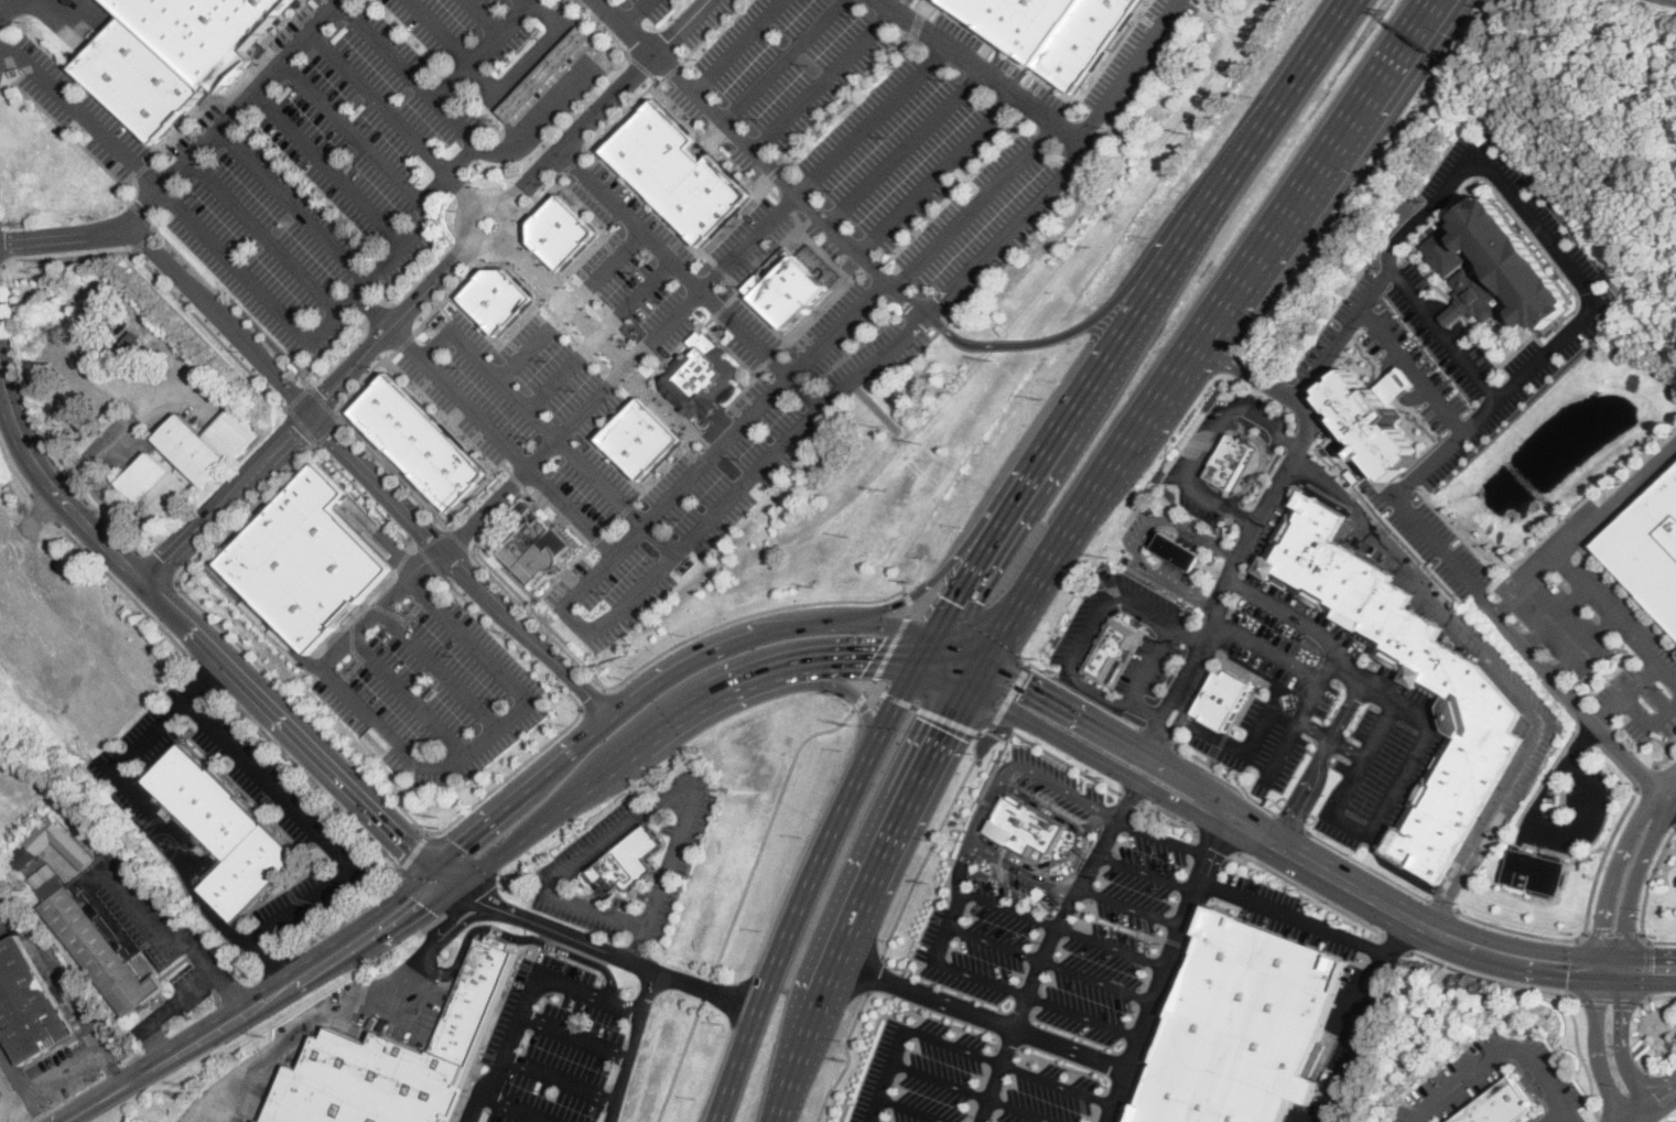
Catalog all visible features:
road: (530, 1)
parking lot: (855, 1)
building: (312, 3)
parking lot: (657, 7)
road: (638, 11)
road: (488, 15)
parking lot: (901, 15)
road: (7, 19)
parking lot: (441, 20)
parking lot: (710, 21)
road: (918, 23)
parking lot: (294, 24)
road: (607, 30)
building: (1049, 30)
road: (440, 31)
road: (714, 31)
building: (204, 33)
building: (338, 33)
road: (1, 42)
road: (743, 45)
road: (484, 48)
building: (442, 54)
parking lot: (1137, 55)
road: (537, 56)
parking lot: (793, 58)
road: (789, 60)
road: (645, 66)
road: (675, 68)
building: (426, 69)
road: (409, 72)
road: (985, 72)
building: (548, 73)
gas station: (548, 73)
road: (828, 77)
building: (136, 78)
road: (664, 80)
road: (583, 82)
building: (280, 93)
road: (502, 96)
road: (851, 99)
road: (380, 101)
road: (609, 103)
parking lot: (76, 110)
building: (356, 110)
road: (625, 114)
road: (79, 115)
road: (874, 118)
parking lot: (190, 126)
road: (60, 129)
road: (354, 132)
road: (908, 147)
road: (765, 155)
road: (191, 158)
road: (1483, 158)
parking lot: (949, 161)
road: (576, 162)
building: (345, 165)
road: (328, 169)
road: (133, 170)
road: (447, 170)
road: (1068, 170)
building: (681, 171)
road: (938, 172)
road: (1313, 173)
building: (414, 176)
parking lot: (322, 186)
road: (462, 187)
road: (115, 188)
road: (547, 194)
road: (586, 205)
road: (976, 206)
road: (290, 207)
parking lot: (793, 209)
parking lot: (1518, 209)
road: (133, 214)
road: (632, 220)
road: (420, 224)
road: (147, 227)
building: (563, 229)
road: (473, 235)
road: (260, 238)
road: (138, 239)
building: (377, 239)
road: (127, 248)
road: (385, 263)
parking lot: (645, 263)
building: (1502, 263)
road: (231, 268)
road: (158, 283)
building: (793, 290)
road: (446, 295)
building: (498, 296)
road: (569, 302)
road: (227, 304)
road: (573, 306)
road: (371, 311)
road: (1134, 311)
road: (335, 313)
road: (682, 314)
road: (1453, 314)
parking lot: (1342, 325)
parking lot: (837, 327)
building: (75, 330)
road: (1344, 330)
parking lot: (747, 333)
road: (748, 334)
parking lot: (1443, 334)
road: (603, 335)
road: (1048, 337)
road: (402, 341)
building: (127, 346)
road: (390, 353)
parking lot: (877, 356)
road: (1245, 368)
road: (1414, 368)
parking lot: (1417, 368)
road: (361, 376)
building: (701, 380)
road: (506, 385)
parking lot: (509, 385)
road: (1396, 386)
road: (18, 390)
road: (805, 392)
road: (294, 396)
road: (320, 398)
road: (458, 399)
parking lot: (1505, 399)
building: (237, 407)
parking lot: (1262, 408)
road: (312, 412)
road: (752, 417)
road: (298, 423)
building: (1370, 424)
road: (1140, 428)
road: (324, 431)
road: (120, 436)
building: (648, 438)
building: (420, 441)
parking lot: (1197, 441)
building: (210, 443)
road: (1208, 445)
road: (1272, 445)
building: (1229, 460)
road: (1295, 463)
road: (1259, 466)
road: (13, 467)
road: (366, 467)
road: (72, 485)
building: (155, 487)
road: (361, 495)
road: (617, 495)
road: (477, 497)
road: (1395, 497)
road: (44, 506)
parking lot: (1197, 507)
road: (489, 508)
parking lot: (666, 510)
road: (495, 519)
road: (110, 526)
parking lot: (1136, 528)
parking lot: (1270, 528)
road: (1199, 535)
parking lot: (1428, 535)
road: (380, 537)
road: (433, 537)
road: (1142, 537)
road: (459, 539)
building: (536, 543)
parking lot: (1369, 543)
building: (1648, 549)
building: (1177, 551)
road: (1176, 552)
road: (671, 557)
road: (1185, 558)
building: (305, 559)
road: (429, 559)
road: (426, 563)
road: (154, 568)
road: (943, 568)
road: (1036, 584)
road: (1177, 585)
road: (127, 591)
road: (1113, 591)
road: (908, 595)
parking lot: (1559, 595)
traffic signals: (960, 601)
road: (1603, 608)
road: (911, 609)
road: (1493, 612)
road: (1553, 614)
road: (259, 618)
parking lot: (1079, 619)
road: (1304, 621)
road: (1100, 624)
road: (208, 646)
road: (893, 646)
road: (963, 647)
road: (1266, 647)
parking lot: (1648, 647)
road: (1581, 648)
building: (1110, 650)
road: (927, 651)
road: (663, 652)
flagpole: (1364, 656)
road: (850, 659)
traffic signals: (869, 659)
flagpole: (1374, 660)
road: (439, 665)
parking lot: (1147, 667)
road: (1189, 667)
road: (208, 673)
road: (1500, 673)
road: (977, 676)
road: (1665, 677)
building: (1406, 680)
road: (206, 682)
parking lot: (426, 682)
traffic signals: (1026, 682)
road: (872, 687)
road: (845, 688)
road: (522, 691)
road: (1010, 692)
road: (407, 693)
road: (1085, 693)
road: (1136, 693)
road: (596, 698)
building: (1222, 698)
road: (861, 699)
road: (893, 705)
road: (1631, 709)
road: (923, 710)
road: (1147, 710)
road: (1604, 710)
parking lot: (1322, 711)
road: (1297, 716)
parking lot: (161, 724)
traffic signals: (947, 731)
road: (1316, 732)
road: (1157, 734)
road: (1579, 740)
road: (940, 743)
road: (1418, 745)
road: (1134, 747)
road: (1240, 748)
road: (1051, 749)
road: (565, 753)
road: (1664, 755)
road: (1096, 756)
road: (612, 763)
road: (1318, 763)
road: (993, 769)
parking lot: (1057, 773)
road: (1641, 773)
road: (1226, 774)
parking lot: (1527, 774)
road: (310, 776)
road: (372, 776)
road: (1351, 776)
road: (1668, 783)
road: (1066, 790)
road: (1581, 790)
road: (282, 792)
parking lot: (1053, 795)
road: (1129, 796)
road: (1669, 797)
road: (986, 800)
road: (1127, 800)
road: (1533, 802)
road: (1168, 811)
parking lot: (1588, 812)
road: (640, 814)
road: (1289, 821)
parking lot: (289, 826)
building: (1027, 826)
road: (768, 830)
building: (224, 831)
road: (937, 834)
building: (100, 837)
road: (1161, 838)
road: (1217, 839)
building: (62, 841)
traffic signals: (407, 844)
traffic signals: (459, 844)
road: (1074, 846)
road: (414, 849)
road: (467, 854)
building: (25, 856)
parking lot: (631, 860)
building: (628, 862)
road: (174, 864)
road: (958, 864)
road: (1366, 864)
road: (1020, 869)
road: (1399, 869)
building: (1532, 870)
road: (1067, 871)
road: (1613, 871)
parking lot: (1005, 873)
road: (1145, 873)
road: (1648, 875)
road: (1632, 876)
building: (43, 877)
road: (1310, 891)
road: (466, 892)
building: (1039, 892)
road: (423, 893)
road: (474, 894)
road: (1589, 895)
traffic signals: (475, 897)
road: (1440, 904)
parking lot: (140, 906)
traffic signals: (426, 906)
road: (1129, 906)
parking lot: (1283, 911)
road: (353, 915)
road: (3, 917)
road: (1289, 917)
road: (853, 921)
road: (945, 924)
traffic signals: (1601, 926)
road: (1062, 928)
road: (788, 930)
road: (1612, 932)
road: (440, 938)
parking lot: (1081, 938)
road: (187, 939)
road: (526, 940)
road: (1656, 940)
road: (1464, 941)
road: (1397, 942)
building: (97, 948)
road: (636, 949)
road: (272, 952)
road: (353, 952)
road: (617, 953)
traffic signals: (1569, 961)
road: (1049, 963)
road: (1575, 965)
road: (1039, 967)
road: (1647, 967)
traffic signals: (1653, 968)
road: (875, 971)
road: (1164, 972)
road: (58, 978)
road: (1494, 979)
road: (707, 990)
road: (233, 992)
road: (588, 992)
road: (1657, 994)
road: (1036, 996)
road: (1609, 999)
building: (29, 1005)
traffic signals: (1622, 1010)
road: (982, 1015)
road: (1359, 1015)
road: (1621, 1019)
building: (1237, 1025)
road: (303, 1031)
road: (575, 1033)
road: (156, 1040)
parking lot: (565, 1043)
road: (1495, 1044)
road: (634, 1045)
road: (1597, 1045)
road: (502, 1048)
road: (1581, 1055)
road: (850, 1056)
building: (399, 1060)
road: (682, 1061)
road: (154, 1066)
road: (12, 1067)
road: (110, 1067)
road: (1009, 1068)
road: (61, 1069)
road: (887, 1076)
road: (1652, 1078)
road: (559, 1079)
parking lot: (969, 1081)
building: (4, 1086)
road: (789, 1087)
road: (1637, 1089)
road: (970, 1092)
road: (1658, 1096)
building: (1500, 1103)
road: (517, 1107)
road: (910, 1110)
road: (1633, 1114)
road: (1569, 1116)
road: (1602, 1120)
road: (1624, 1121)

